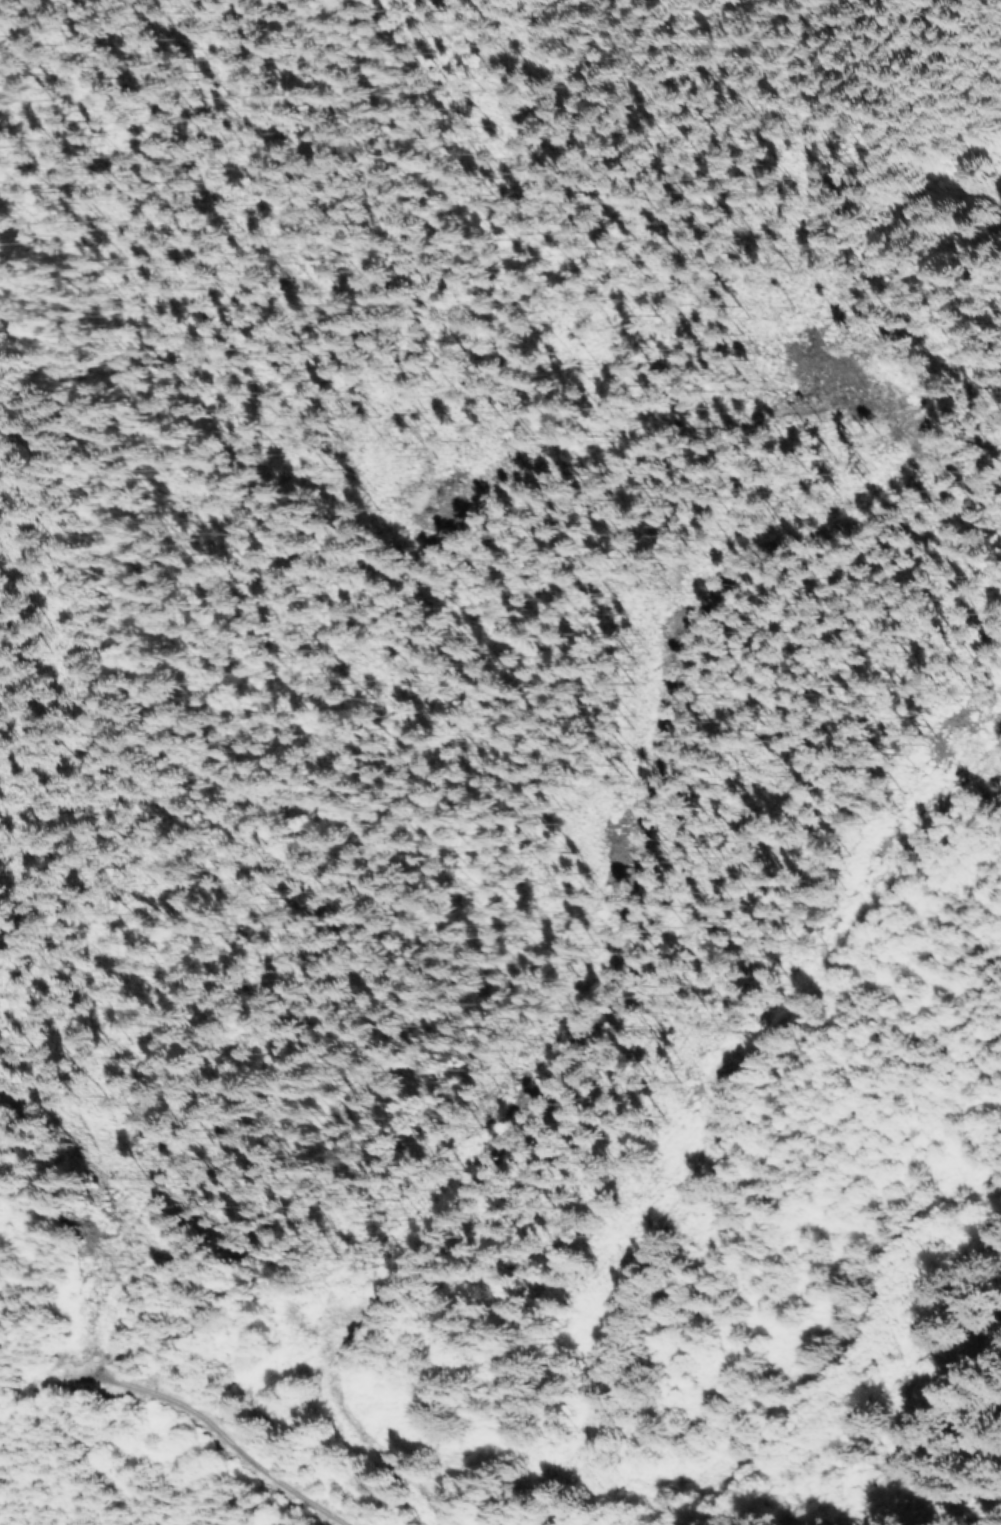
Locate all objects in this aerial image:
road: (212, 1360)
road: (740, 1431)

